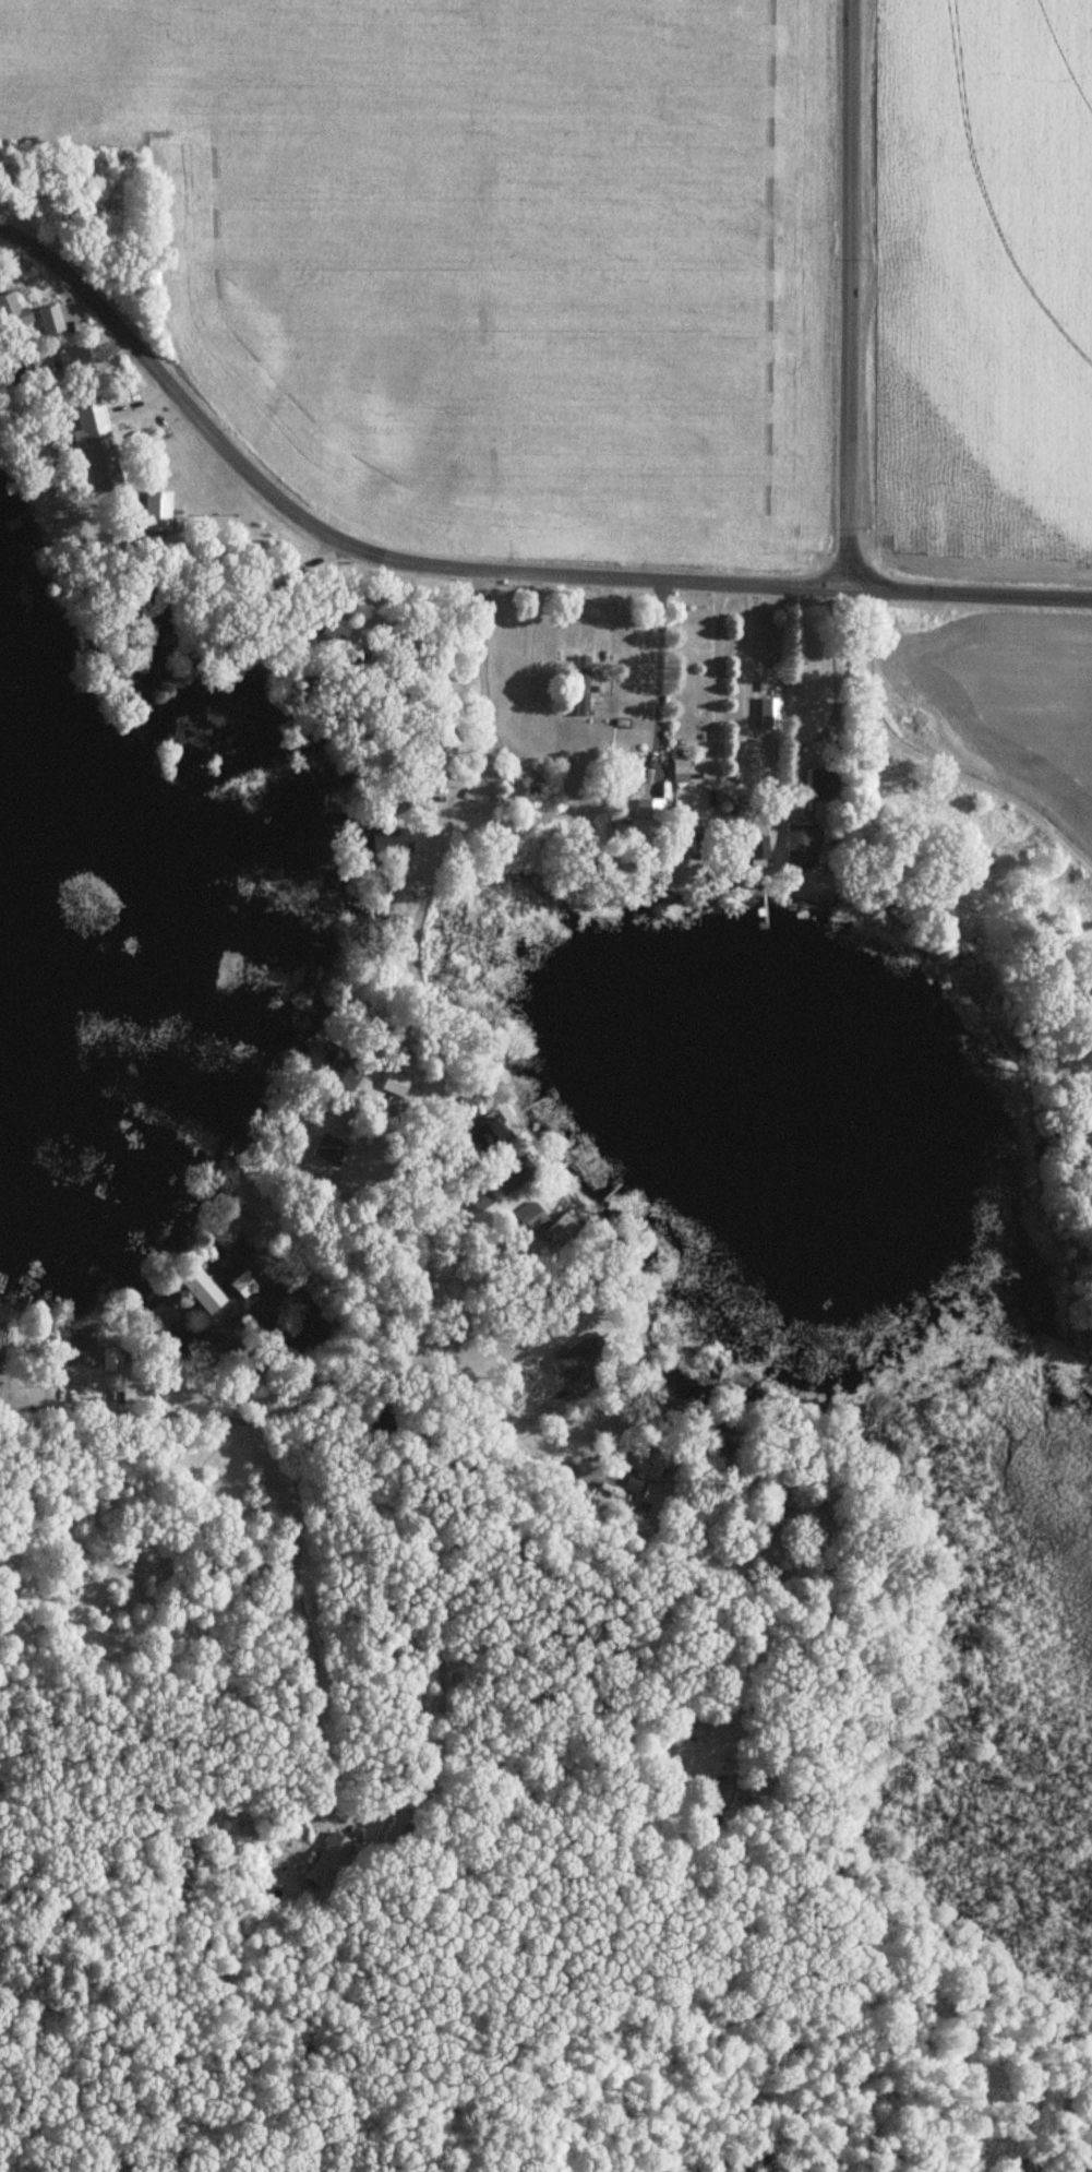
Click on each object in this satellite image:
road: (848, 290)
building: (53, 323)
building: (101, 451)
road: (481, 573)
road: (743, 660)
road: (833, 672)
road: (657, 673)
road: (712, 677)
road: (922, 753)
building: (656, 810)
building: (794, 847)
road: (413, 942)
building: (400, 1085)
building: (535, 1219)
building: (562, 1234)
building: (242, 1286)
building: (82, 1352)
building: (110, 1367)
road: (230, 1420)
road: (544, 1471)
road: (305, 1613)
building: (721, 1791)
building: (324, 1860)

